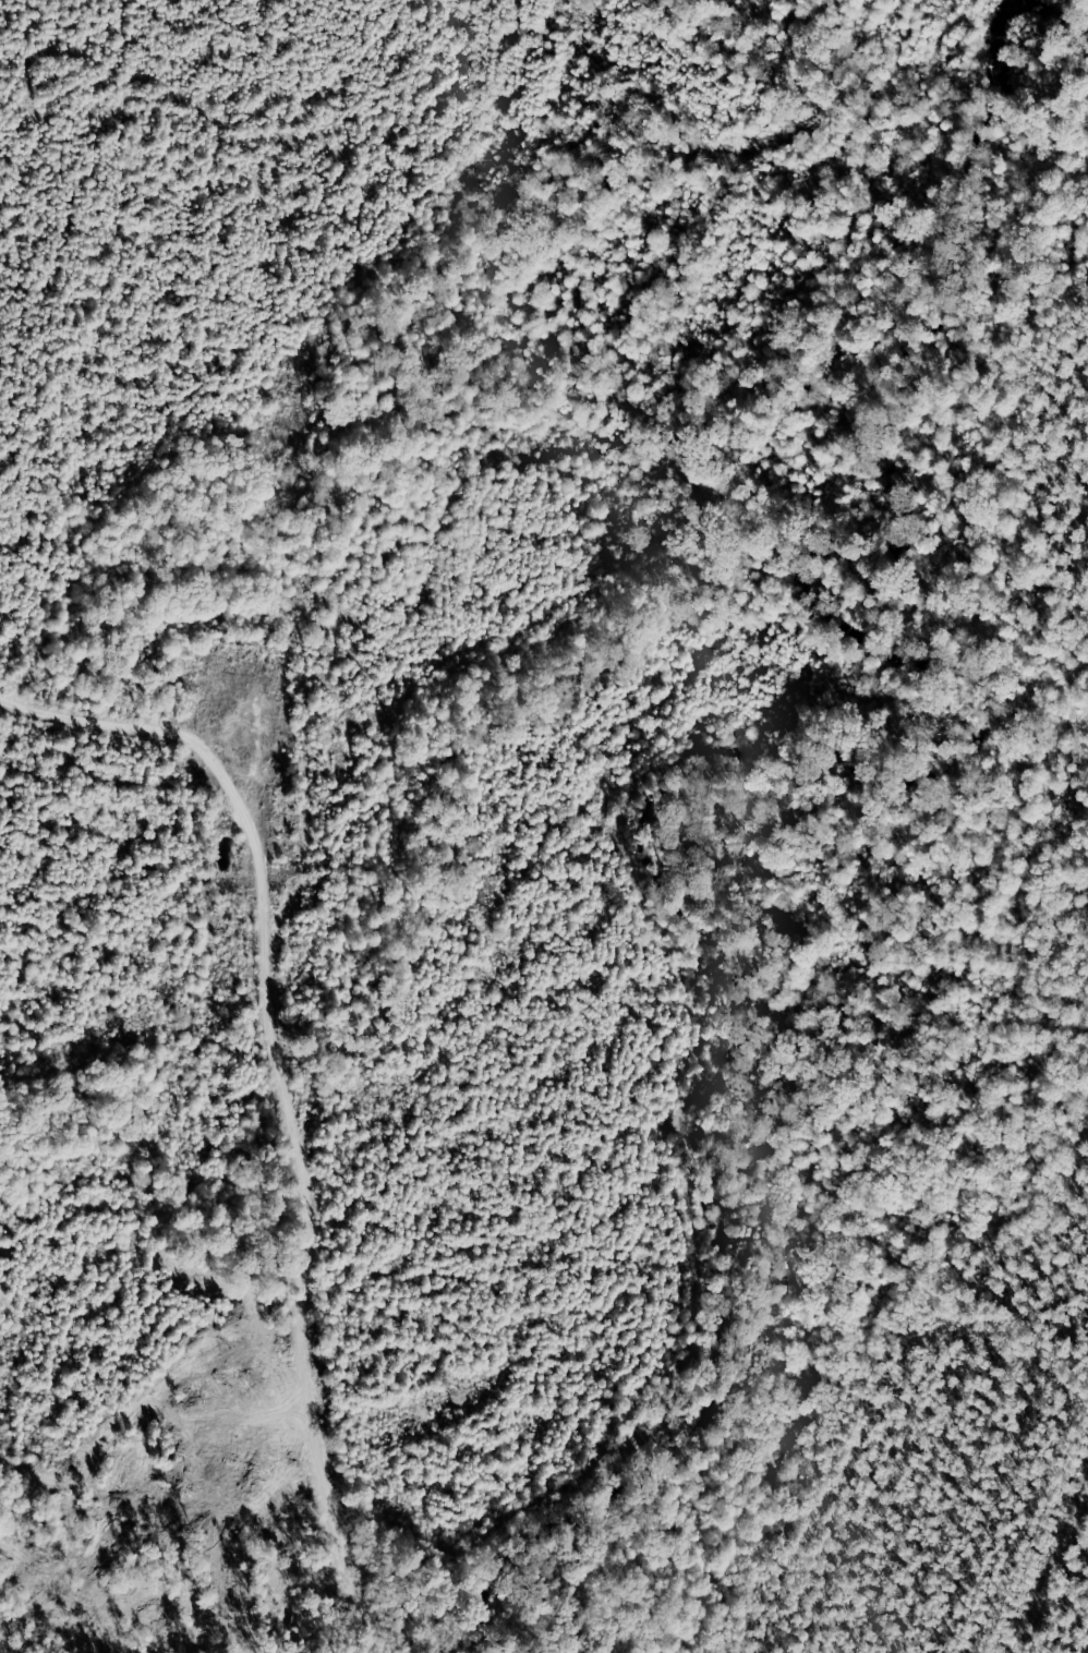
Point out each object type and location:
road: (292, 1094)
road: (1049, 1564)

